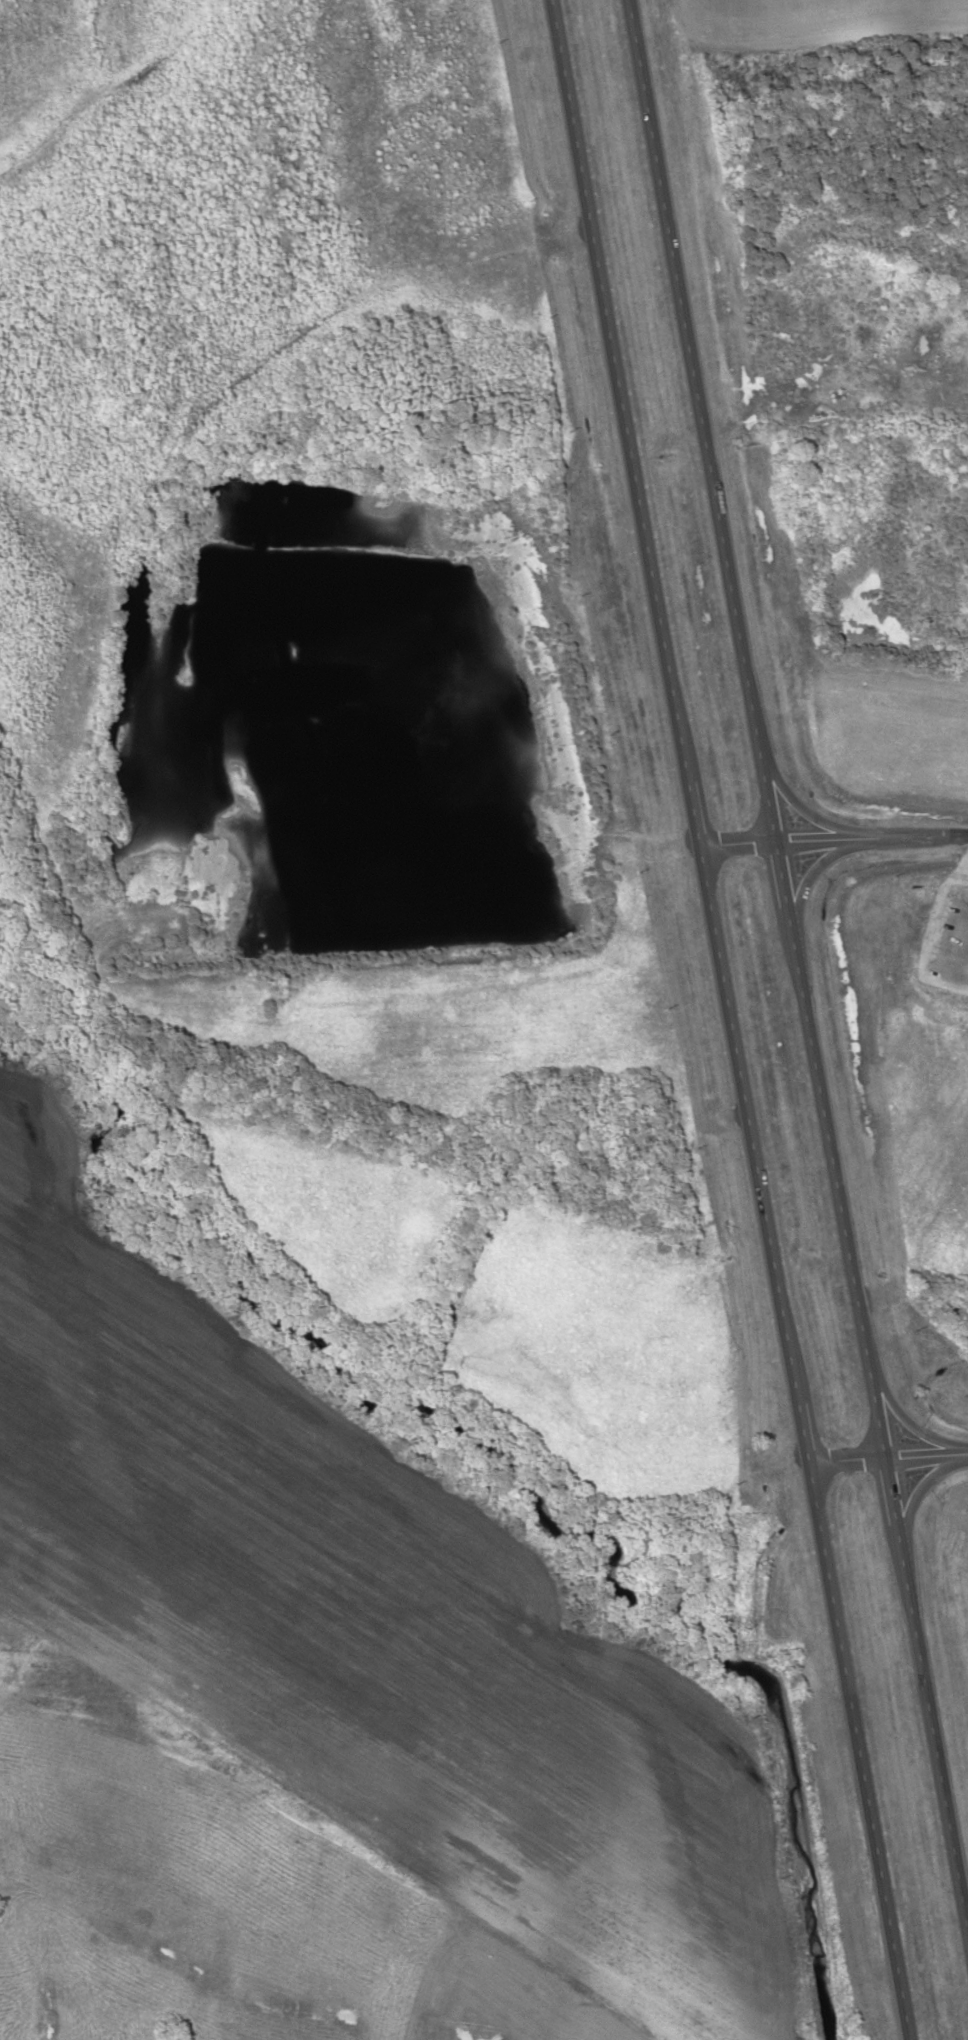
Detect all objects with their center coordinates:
road: (617, 390)
road: (701, 420)
road: (803, 811)
road: (692, 812)
road: (832, 838)
road: (813, 872)
road: (782, 873)
road: (746, 1114)
road: (836, 1181)
road: (800, 1422)
road: (909, 1424)
road: (887, 1457)
road: (920, 1489)
road: (890, 1490)
road: (931, 1728)
road: (857, 1749)

